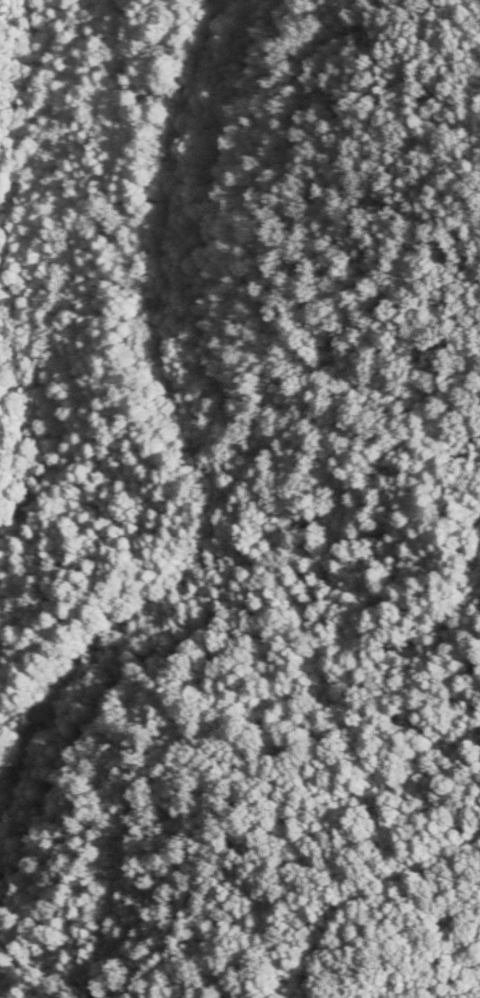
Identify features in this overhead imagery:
road: (379, 896)

